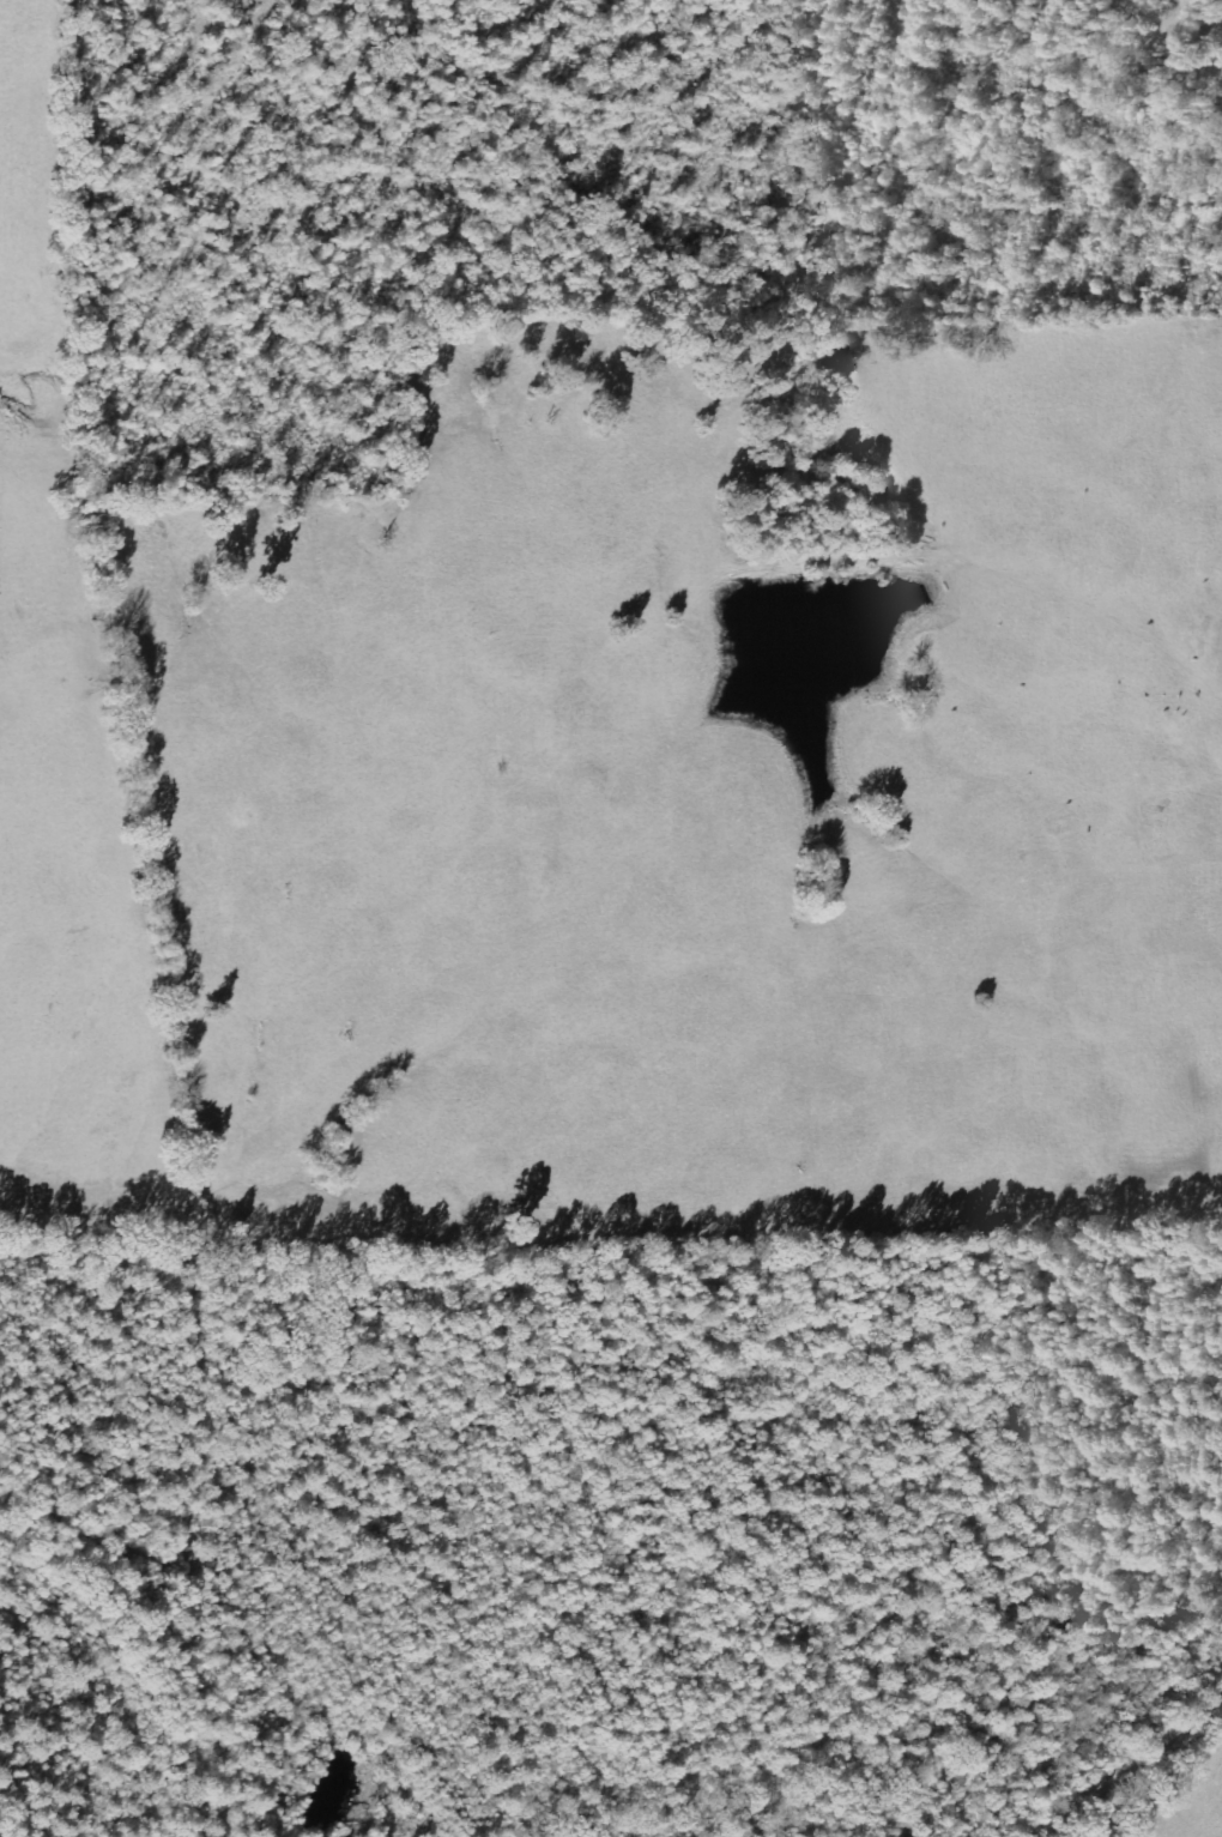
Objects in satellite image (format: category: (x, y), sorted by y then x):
road: (1203, 34)
road: (1135, 1769)

